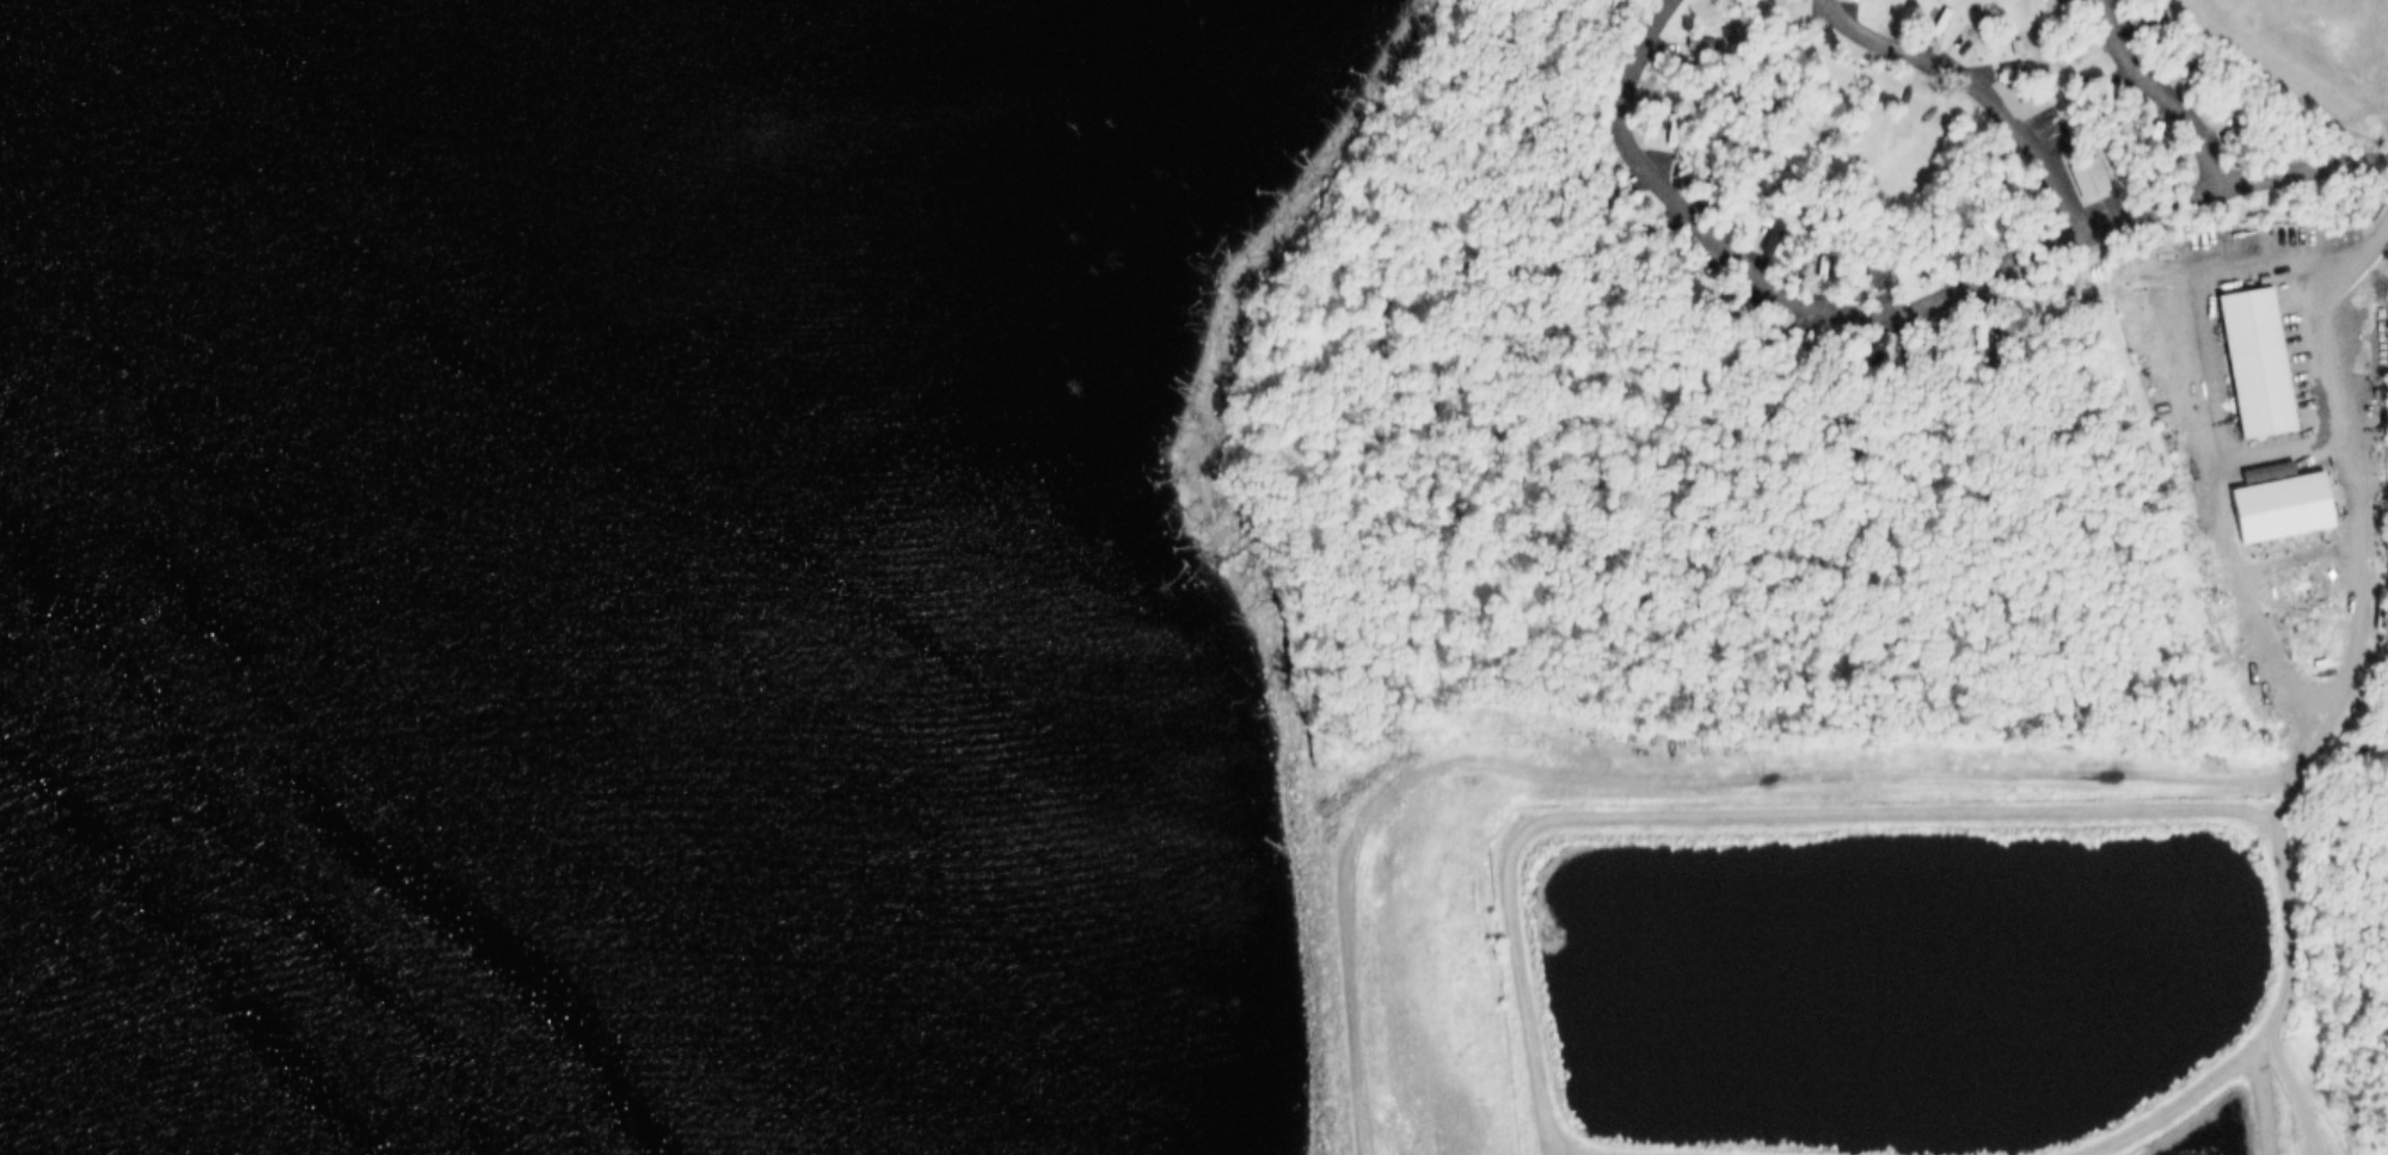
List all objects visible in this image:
building: (1846, 0)
building: (2039, 1)
building: (2143, 30)
building: (2077, 53)
building: (2187, 79)
building: (2095, 102)
building: (1647, 124)
building: (2147, 140)
building: (2081, 177)
building: (1699, 182)
building: (1595, 184)
building: (1617, 192)
building: (1632, 223)
building: (1989, 228)
building: (1762, 231)
building: (1941, 252)
building: (1666, 263)
road: (2291, 265)
building: (1807, 272)
building: (1860, 274)
building: (1872, 279)
building: (1717, 303)
building: (1779, 345)
building: (1867, 355)
building: (2247, 362)
road: (2269, 448)
building: (2271, 505)
road: (2347, 572)
road: (1793, 813)
road: (2267, 1027)
road: (2289, 1095)
road: (2264, 1096)

